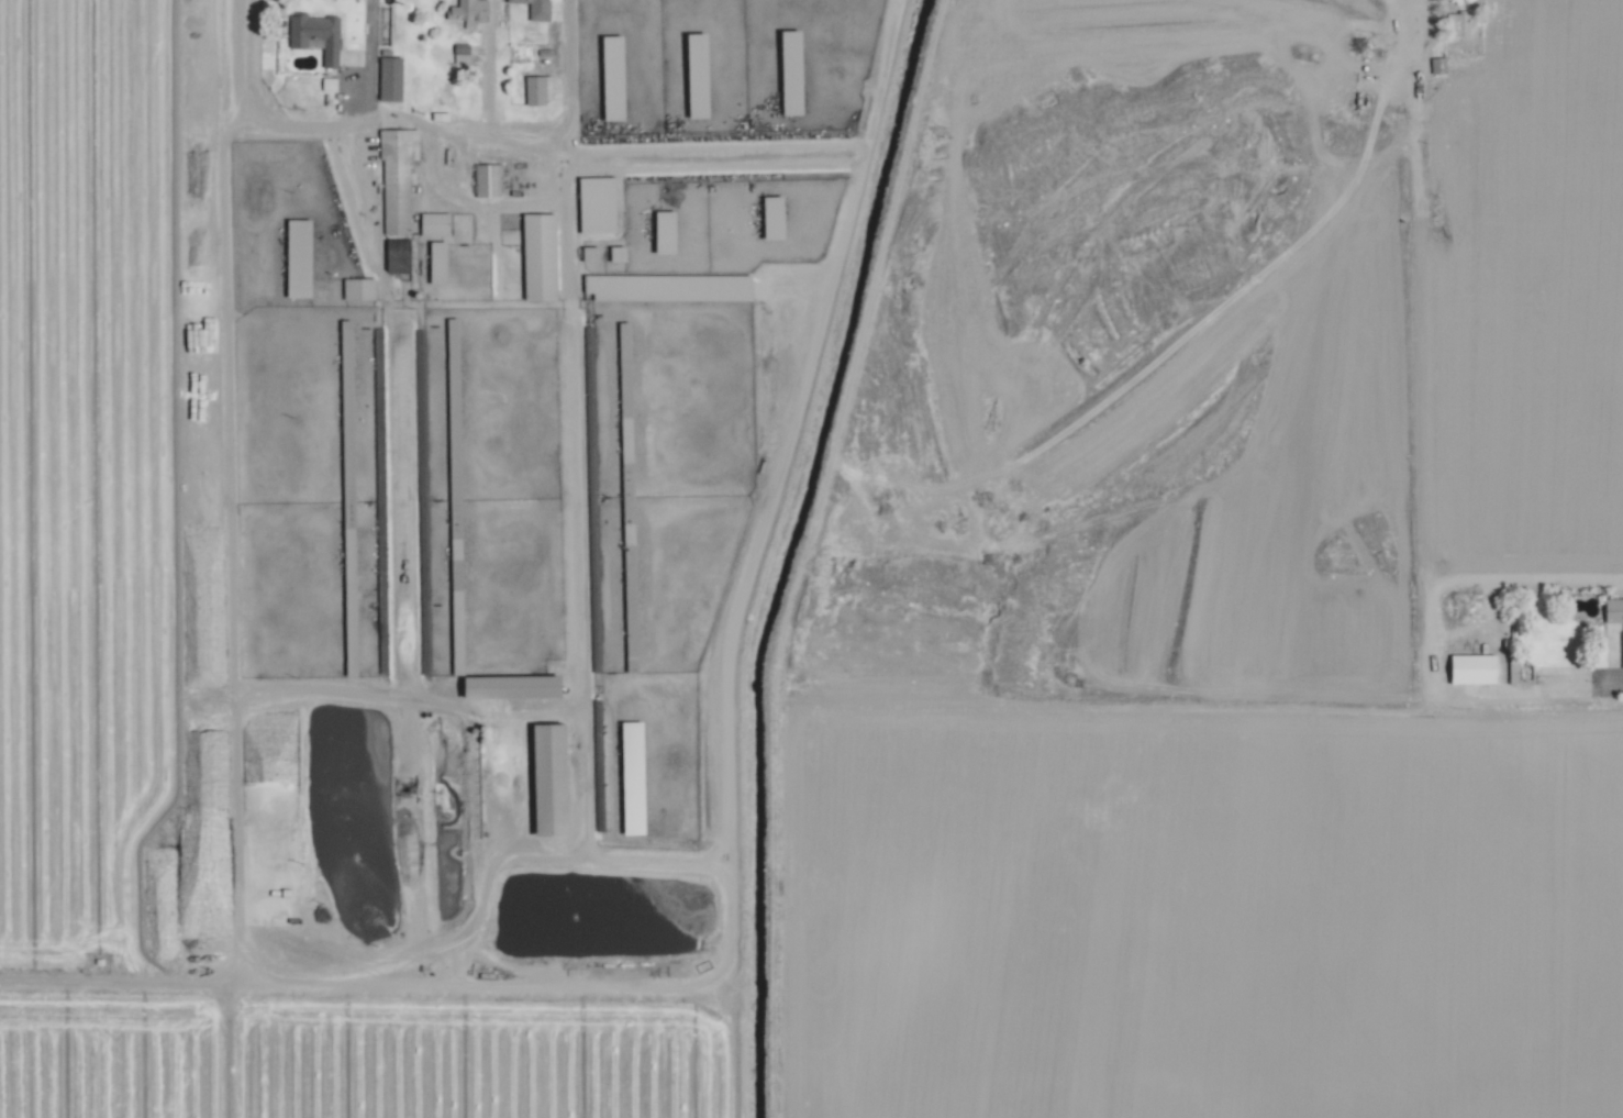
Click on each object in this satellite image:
building: (538, 9)
building: (470, 11)
building: (318, 35)
building: (798, 40)
building: (618, 45)
road: (369, 62)
road: (488, 65)
building: (392, 78)
building: (541, 89)
road: (459, 132)
building: (488, 170)
building: (593, 184)
building: (436, 224)
building: (621, 254)
road: (235, 432)
crop: (811, 558)
building: (1466, 668)
road: (1580, 680)
road: (234, 853)

